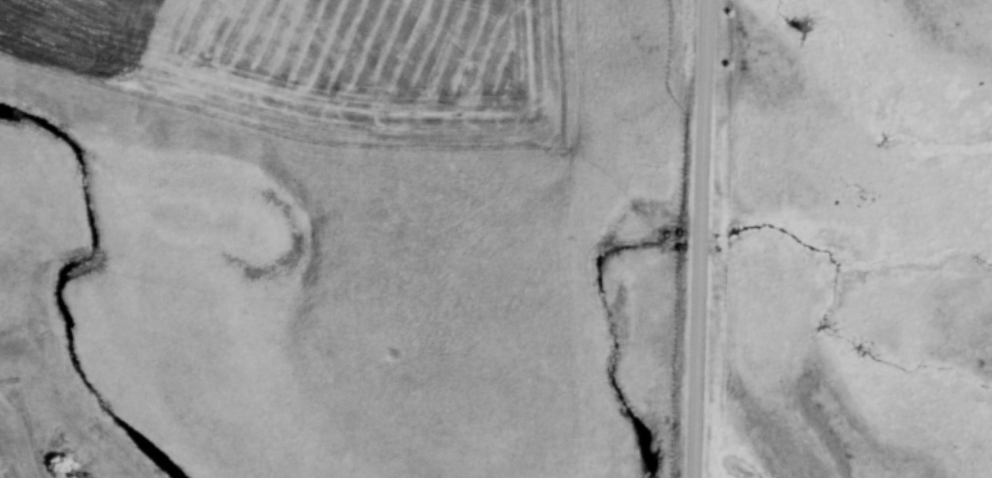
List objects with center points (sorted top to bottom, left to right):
road: (700, 238)

